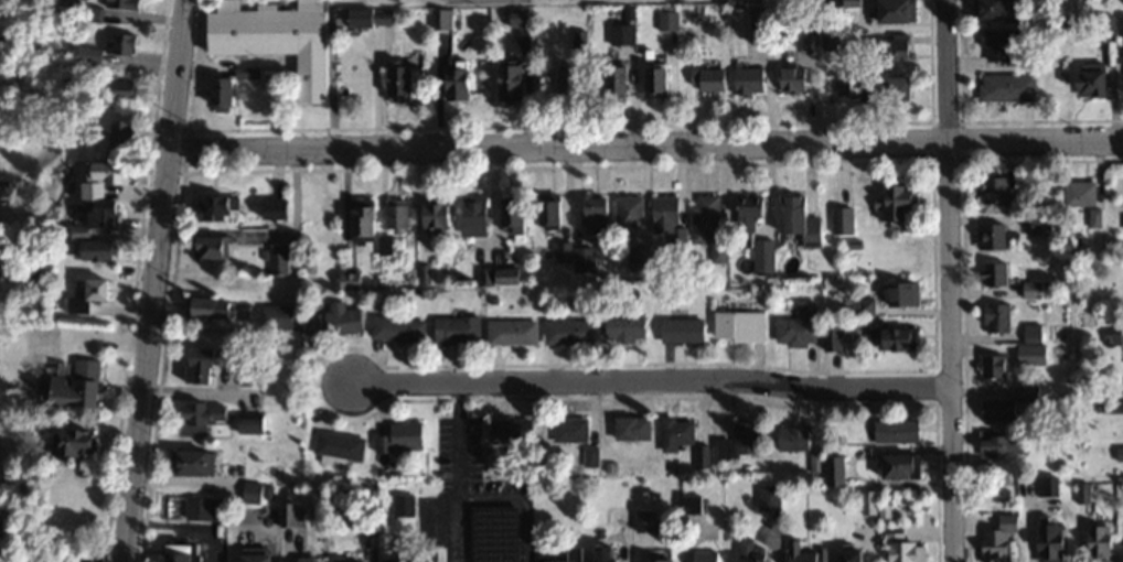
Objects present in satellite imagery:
building: (1122, 2)
building: (130, 3)
building: (992, 9)
building: (892, 10)
building: (523, 17)
building: (1101, 24)
building: (1119, 24)
building: (281, 39)
park: (335, 41)
building: (996, 42)
building: (116, 45)
building: (892, 46)
building: (1024, 60)
building: (749, 76)
building: (789, 77)
building: (462, 78)
building: (705, 78)
building: (515, 79)
building: (617, 79)
building: (1084, 79)
building: (405, 80)
building: (657, 82)
building: (571, 83)
building: (232, 86)
building: (868, 86)
building: (1005, 86)
building: (122, 89)
building: (124, 138)
road: (644, 145)
building: (108, 177)
building: (993, 190)
building: (1078, 192)
building: (889, 202)
building: (746, 205)
building: (218, 207)
building: (279, 208)
building: (399, 213)
building: (108, 214)
building: (477, 214)
building: (554, 214)
building: (614, 215)
building: (439, 216)
building: (516, 216)
building: (665, 218)
building: (703, 218)
building: (796, 219)
building: (839, 219)
building: (370, 221)
building: (987, 236)
building: (216, 246)
building: (105, 248)
building: (560, 251)
building: (761, 257)
building: (278, 271)
building: (992, 273)
building: (504, 275)
road: (153, 280)
building: (351, 280)
road: (949, 280)
building: (90, 291)
building: (897, 293)
building: (213, 306)
building: (860, 306)
building: (277, 316)
building: (995, 316)
building: (338, 318)
building: (628, 321)
building: (736, 325)
building: (795, 325)
building: (400, 328)
building: (682, 328)
building: (461, 329)
building: (515, 331)
building: (571, 331)
building: (887, 335)
building: (830, 337)
building: (1029, 345)
building: (204, 364)
building: (991, 366)
road: (651, 380)
building: (82, 383)
building: (1004, 403)
building: (203, 417)
building: (254, 422)
building: (571, 428)
building: (634, 428)
building: (514, 430)
building: (894, 431)
building: (678, 432)
building: (404, 436)
building: (798, 437)
building: (746, 439)
building: (78, 441)
building: (339, 445)
building: (996, 445)
building: (200, 462)
building: (890, 466)
building: (822, 467)
building: (1045, 485)
building: (255, 491)
building: (768, 497)
building: (867, 502)
building: (405, 504)
building: (200, 507)
building: (293, 514)
building: (646, 520)
building: (498, 533)
building: (994, 537)
building: (1045, 542)
building: (1094, 542)
building: (896, 548)
building: (186, 550)
building: (752, 551)
building: (802, 553)
building: (608, 554)
building: (260, 555)
building: (710, 555)
building: (309, 559)
building: (1121, 559)
building: (657, 560)

